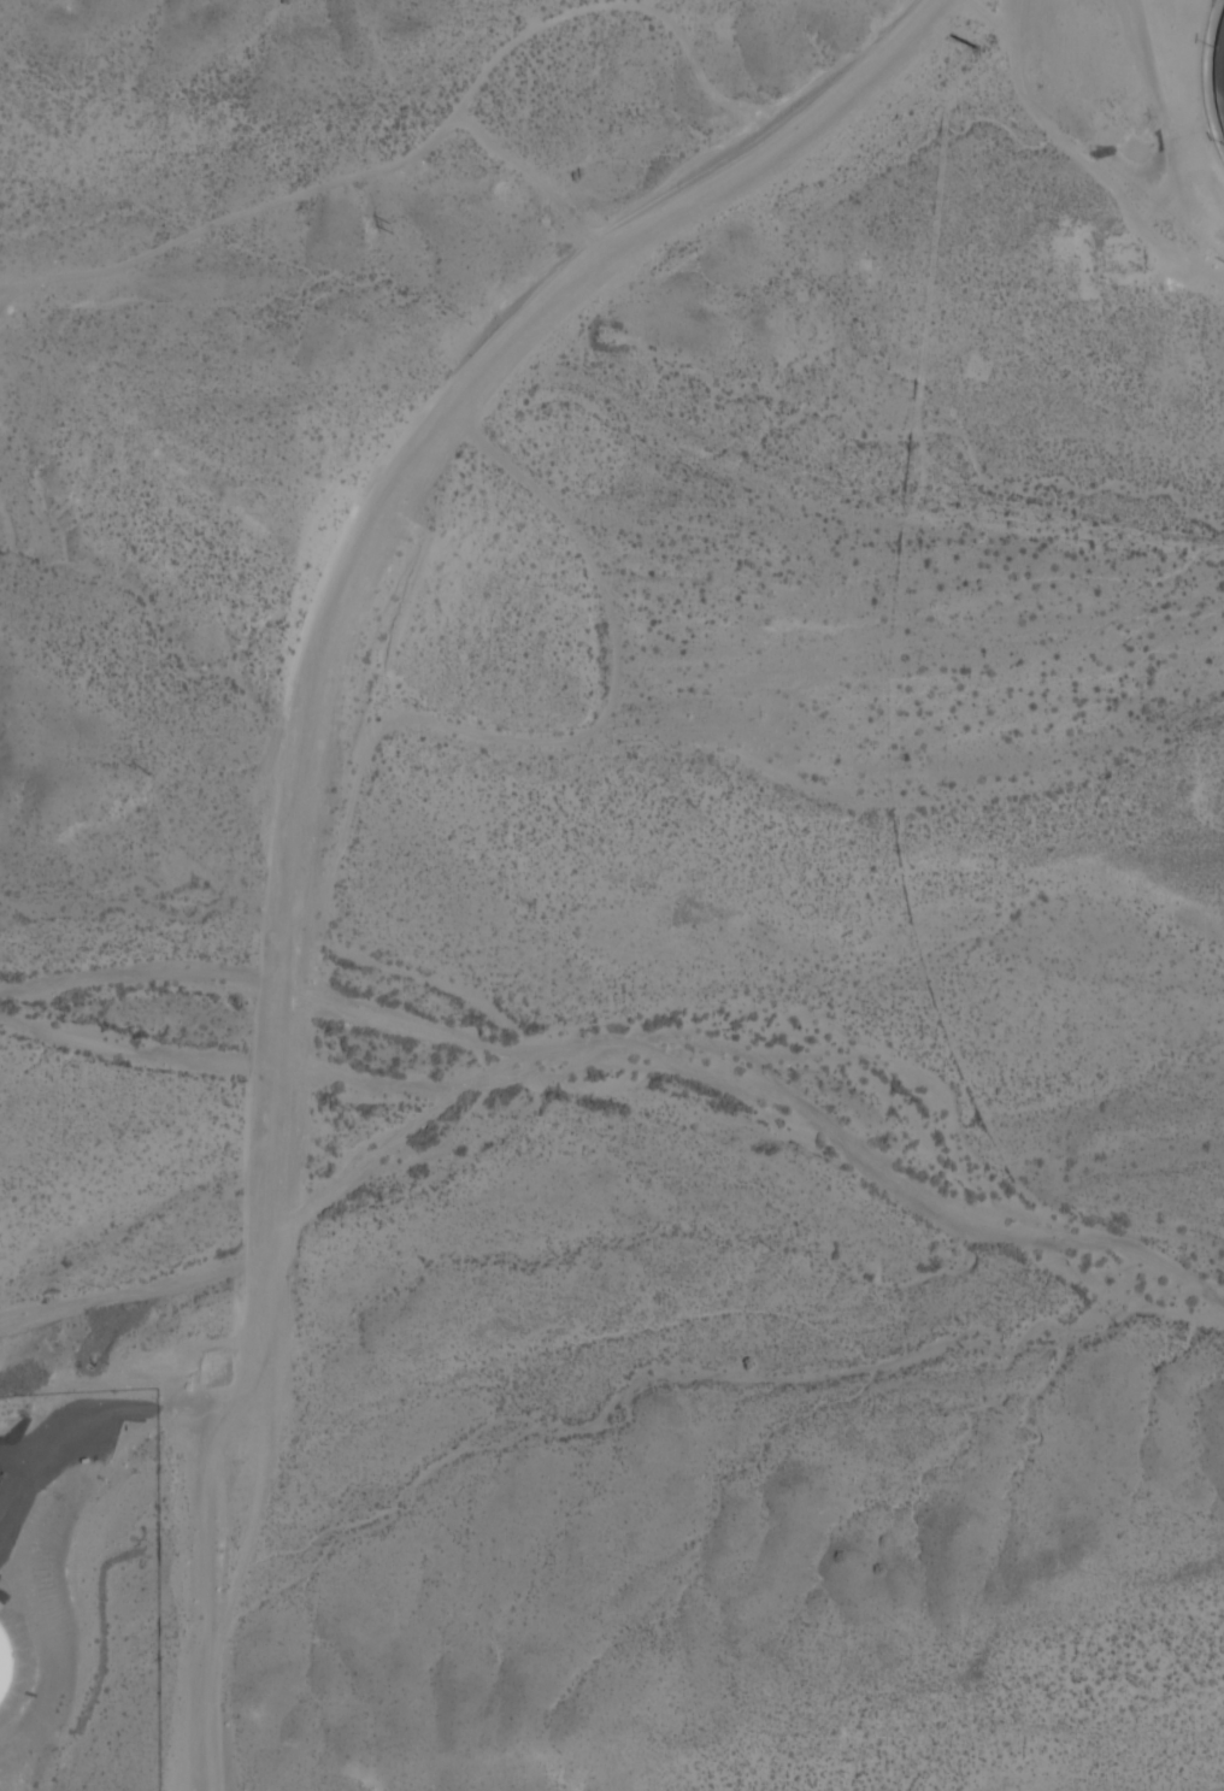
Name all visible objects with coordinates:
power tower: (973, 45)
park: (1220, 54)
stadium: (1190, 73)
power tower: (392, 226)
road: (311, 762)
road: (140, 1290)
road: (111, 1410)
road: (205, 1536)
building: (5, 1663)
storage tank: (5, 1663)

